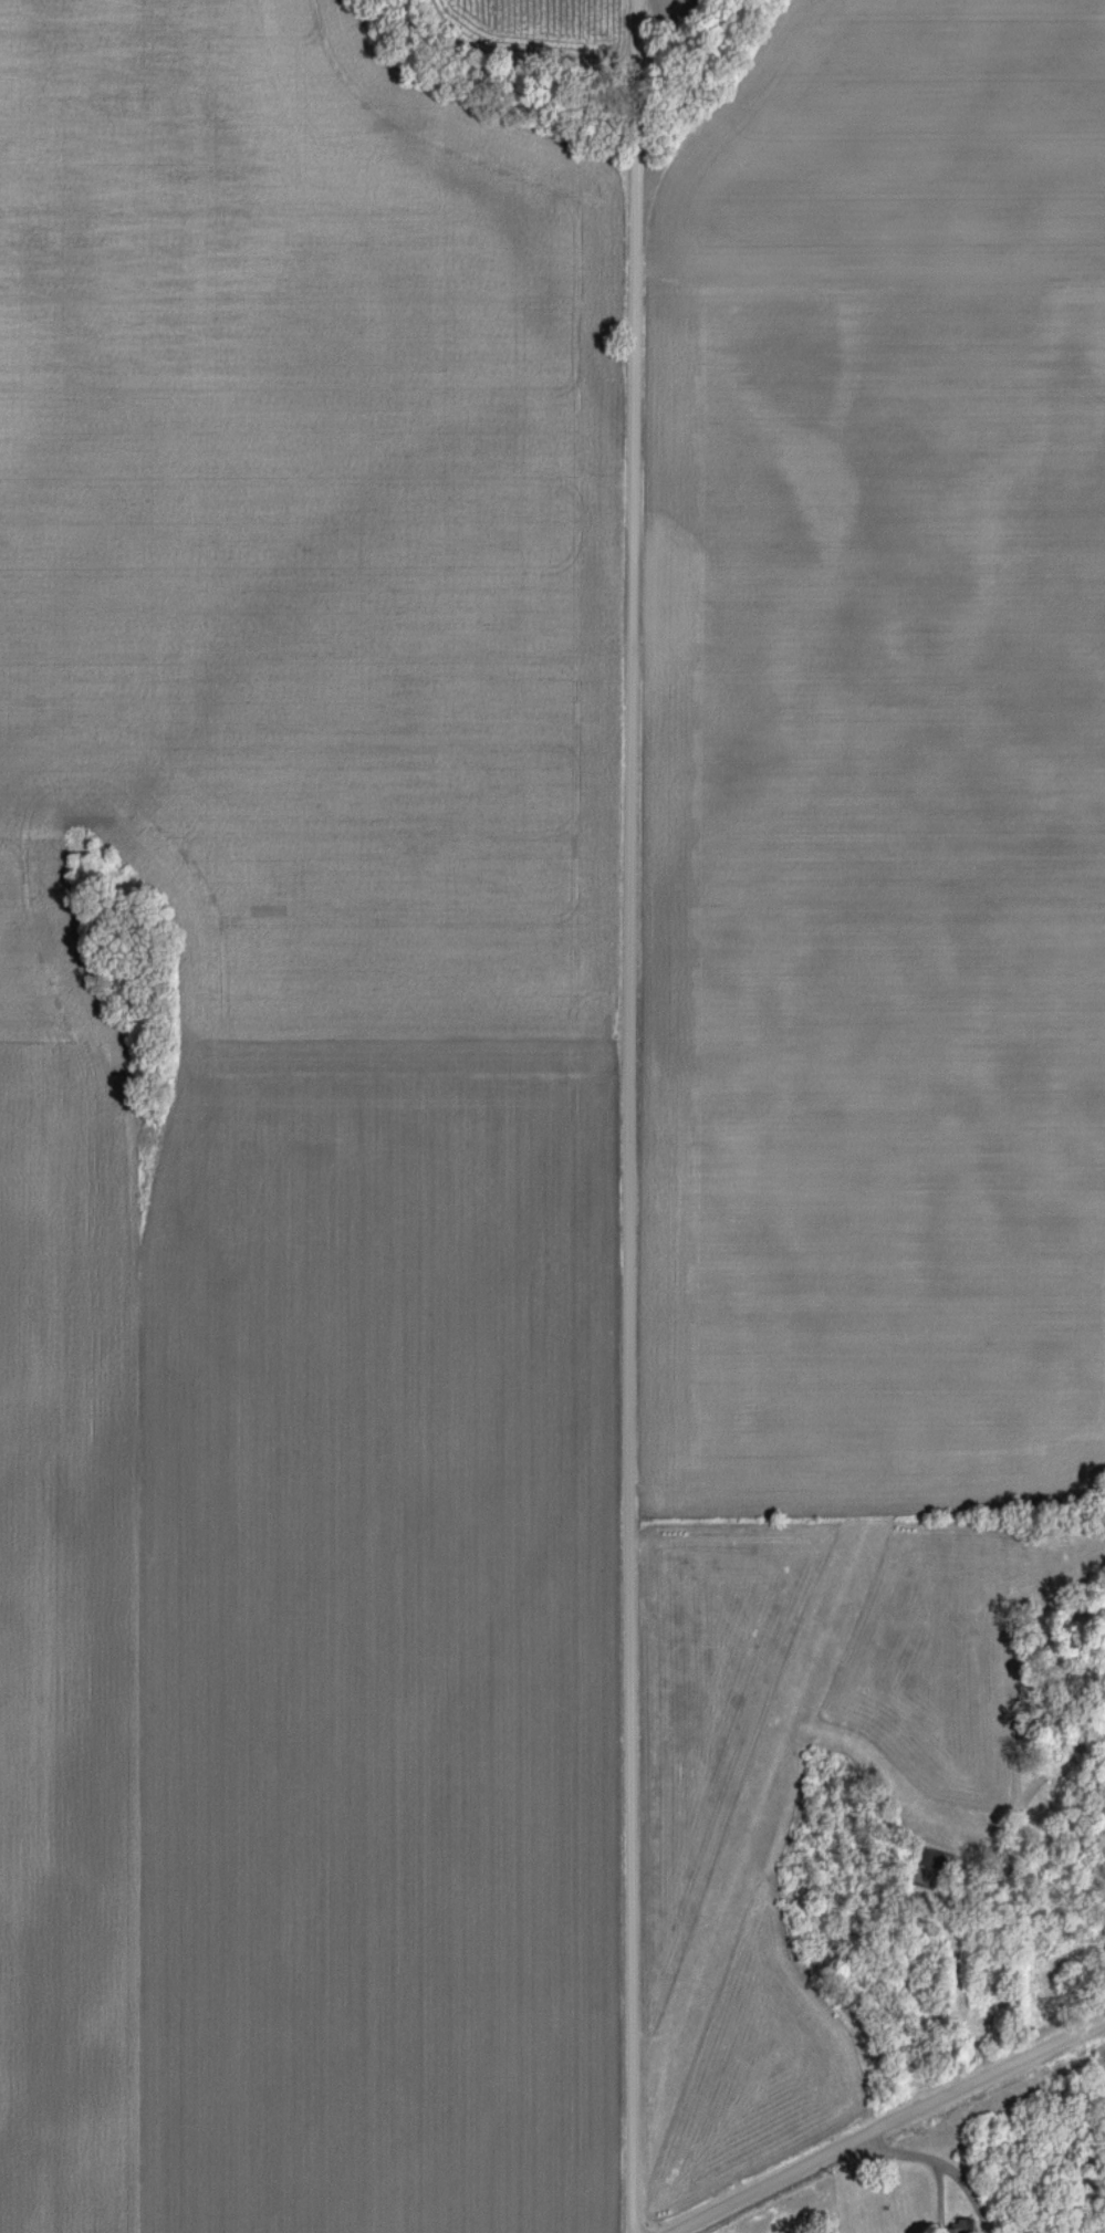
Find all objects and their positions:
road: (625, 1116)
road: (888, 2122)
road: (940, 2166)
building: (962, 2227)

